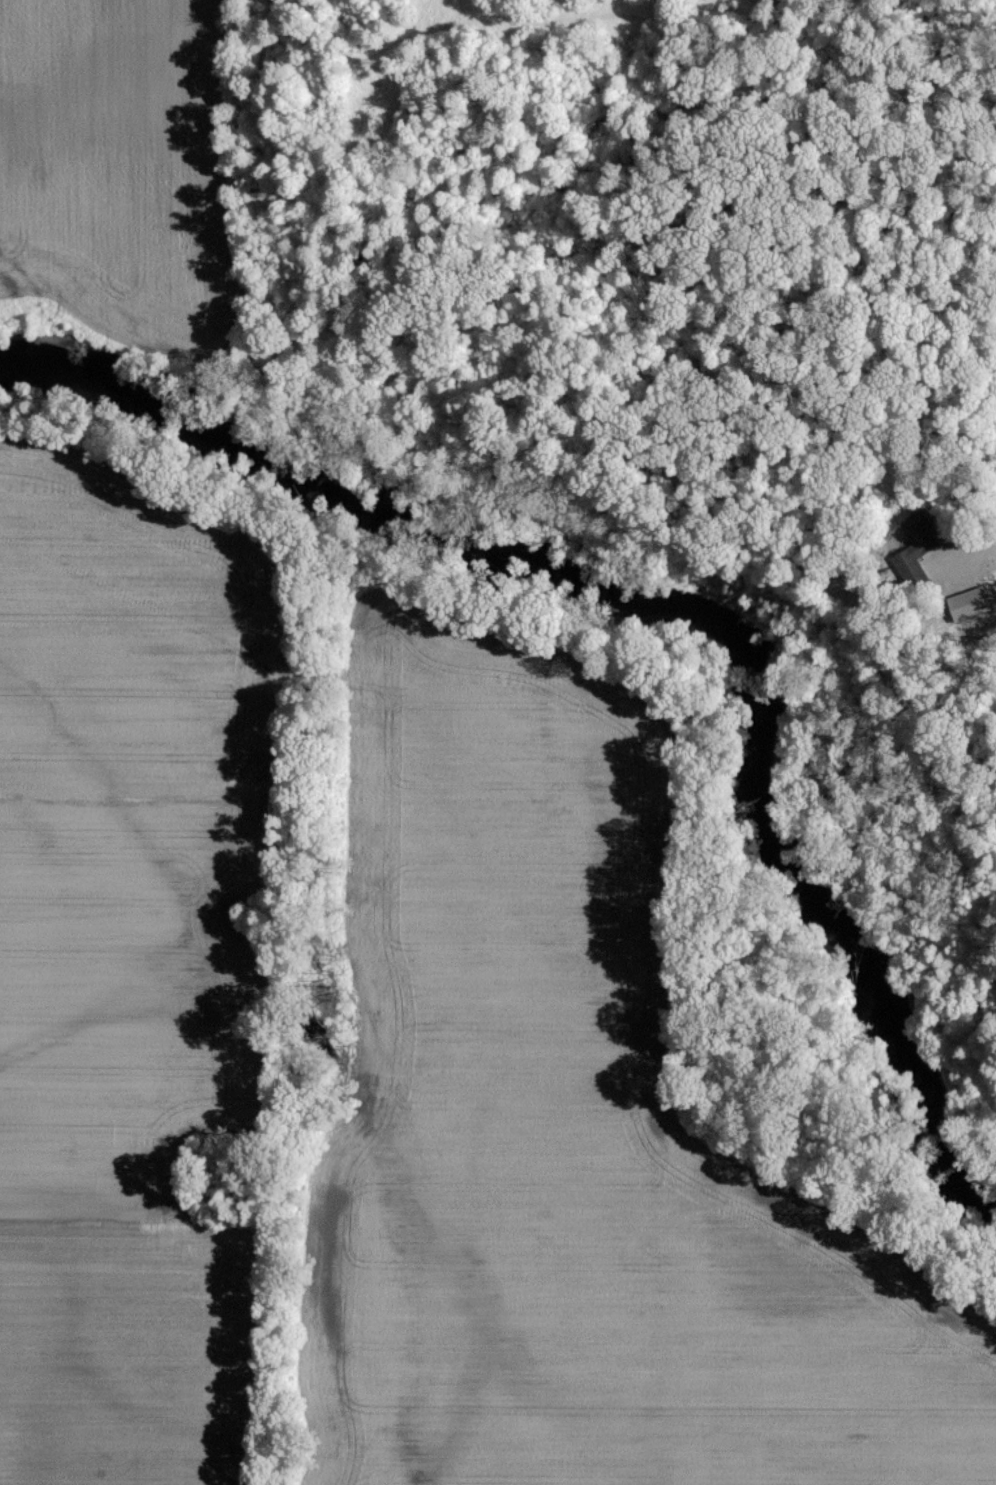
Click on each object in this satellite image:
building: (918, 531)
river: (674, 602)
building: (965, 603)

